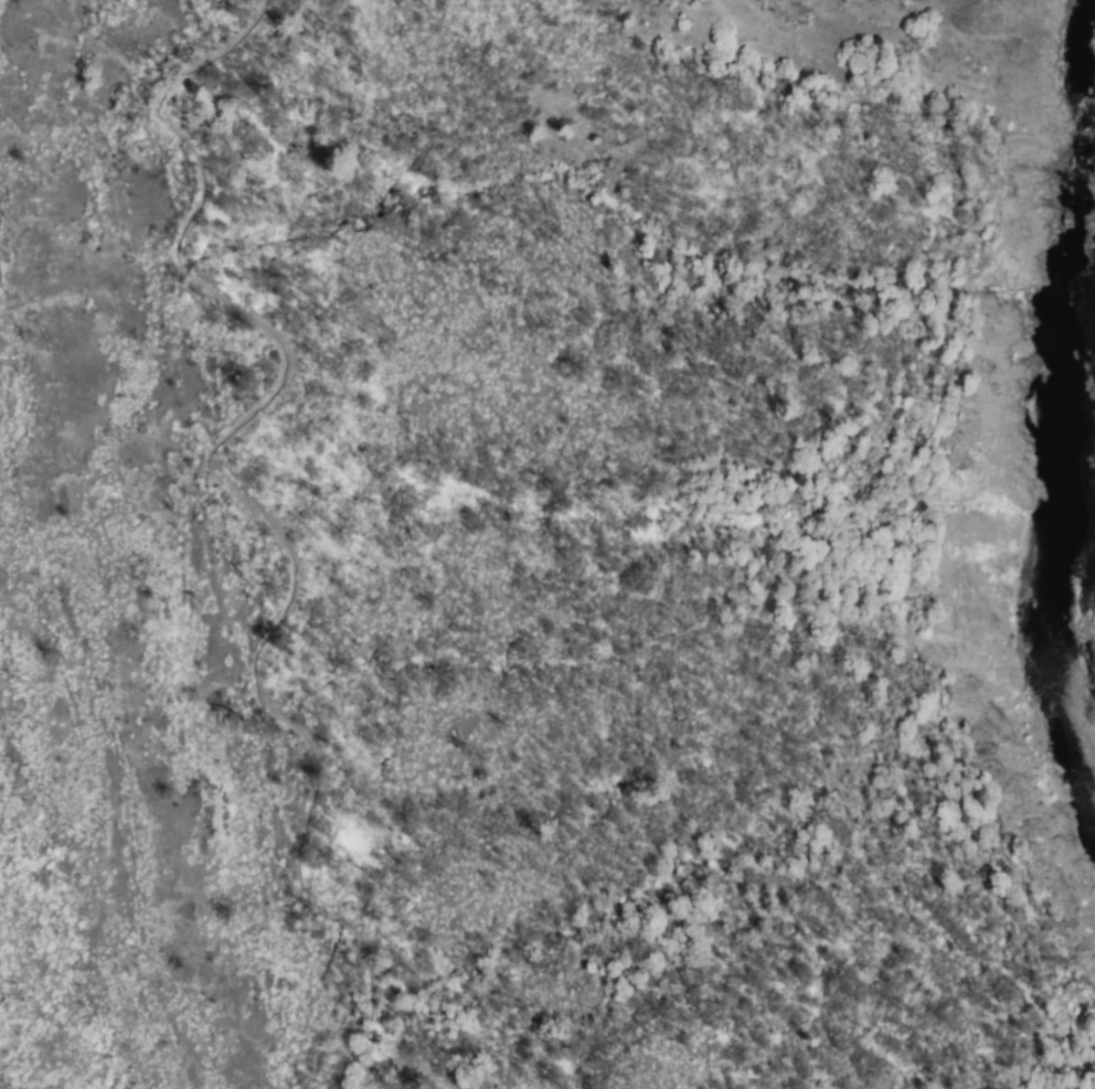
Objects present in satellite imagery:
river: (1021, 427)

